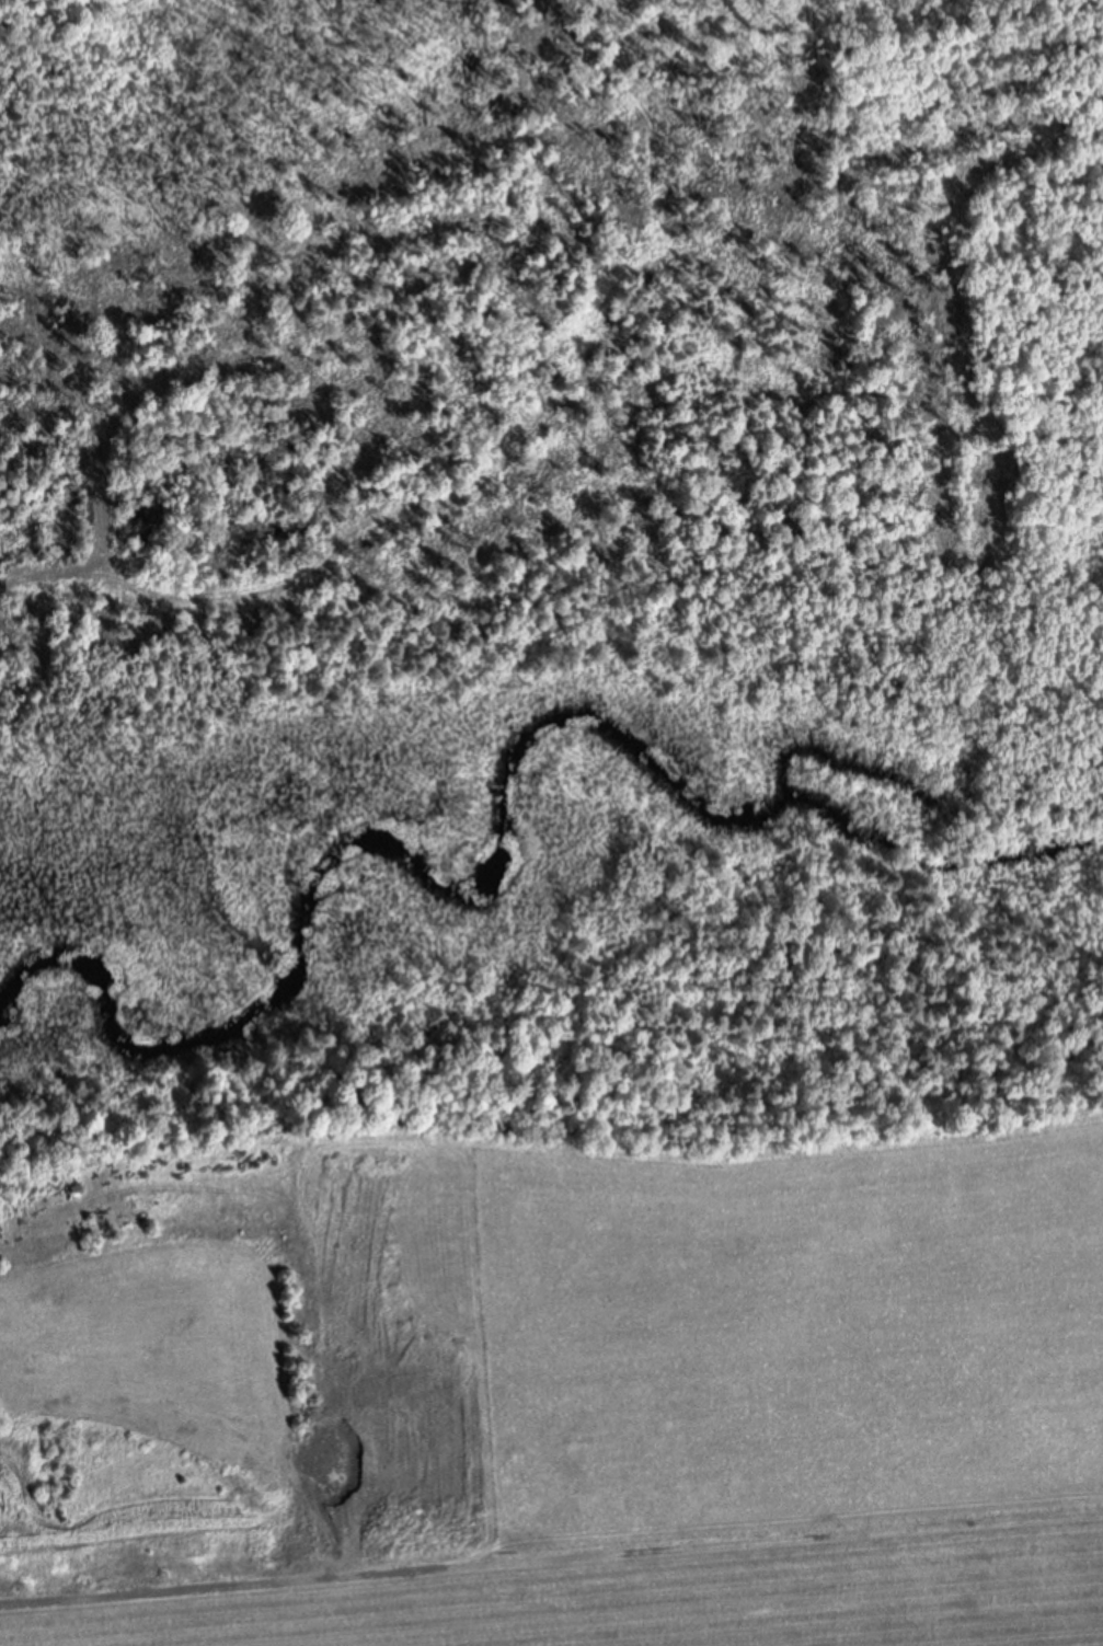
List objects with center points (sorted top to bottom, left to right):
road: (722, 1545)
road: (171, 1596)

